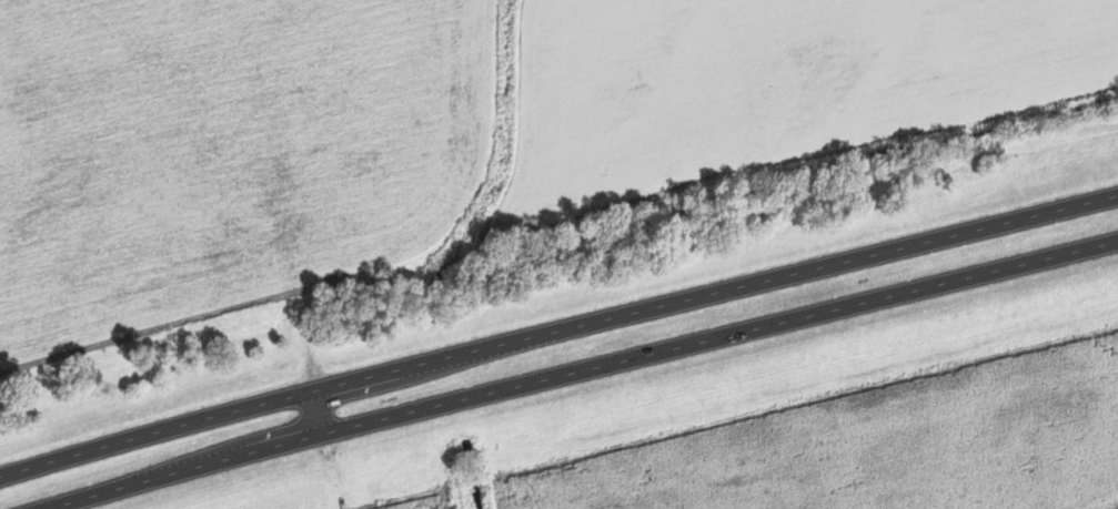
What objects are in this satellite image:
crop: (223, 153)
road: (716, 292)
road: (306, 340)
road: (582, 367)
road: (320, 408)
road: (157, 435)
road: (336, 469)
crop: (423, 503)

